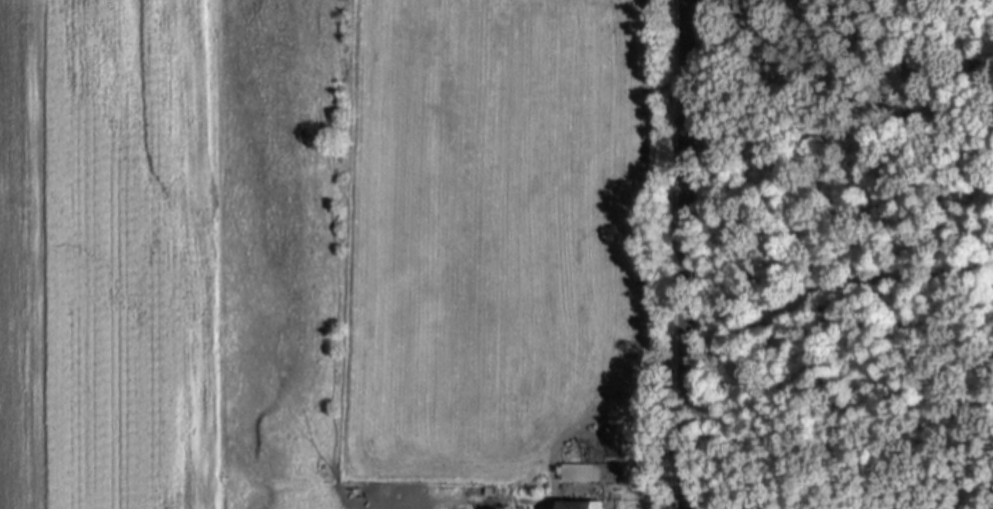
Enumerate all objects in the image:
park: (849, 253)
road: (683, 254)
road: (829, 285)
building: (616, 443)
building: (593, 472)
building: (582, 505)

